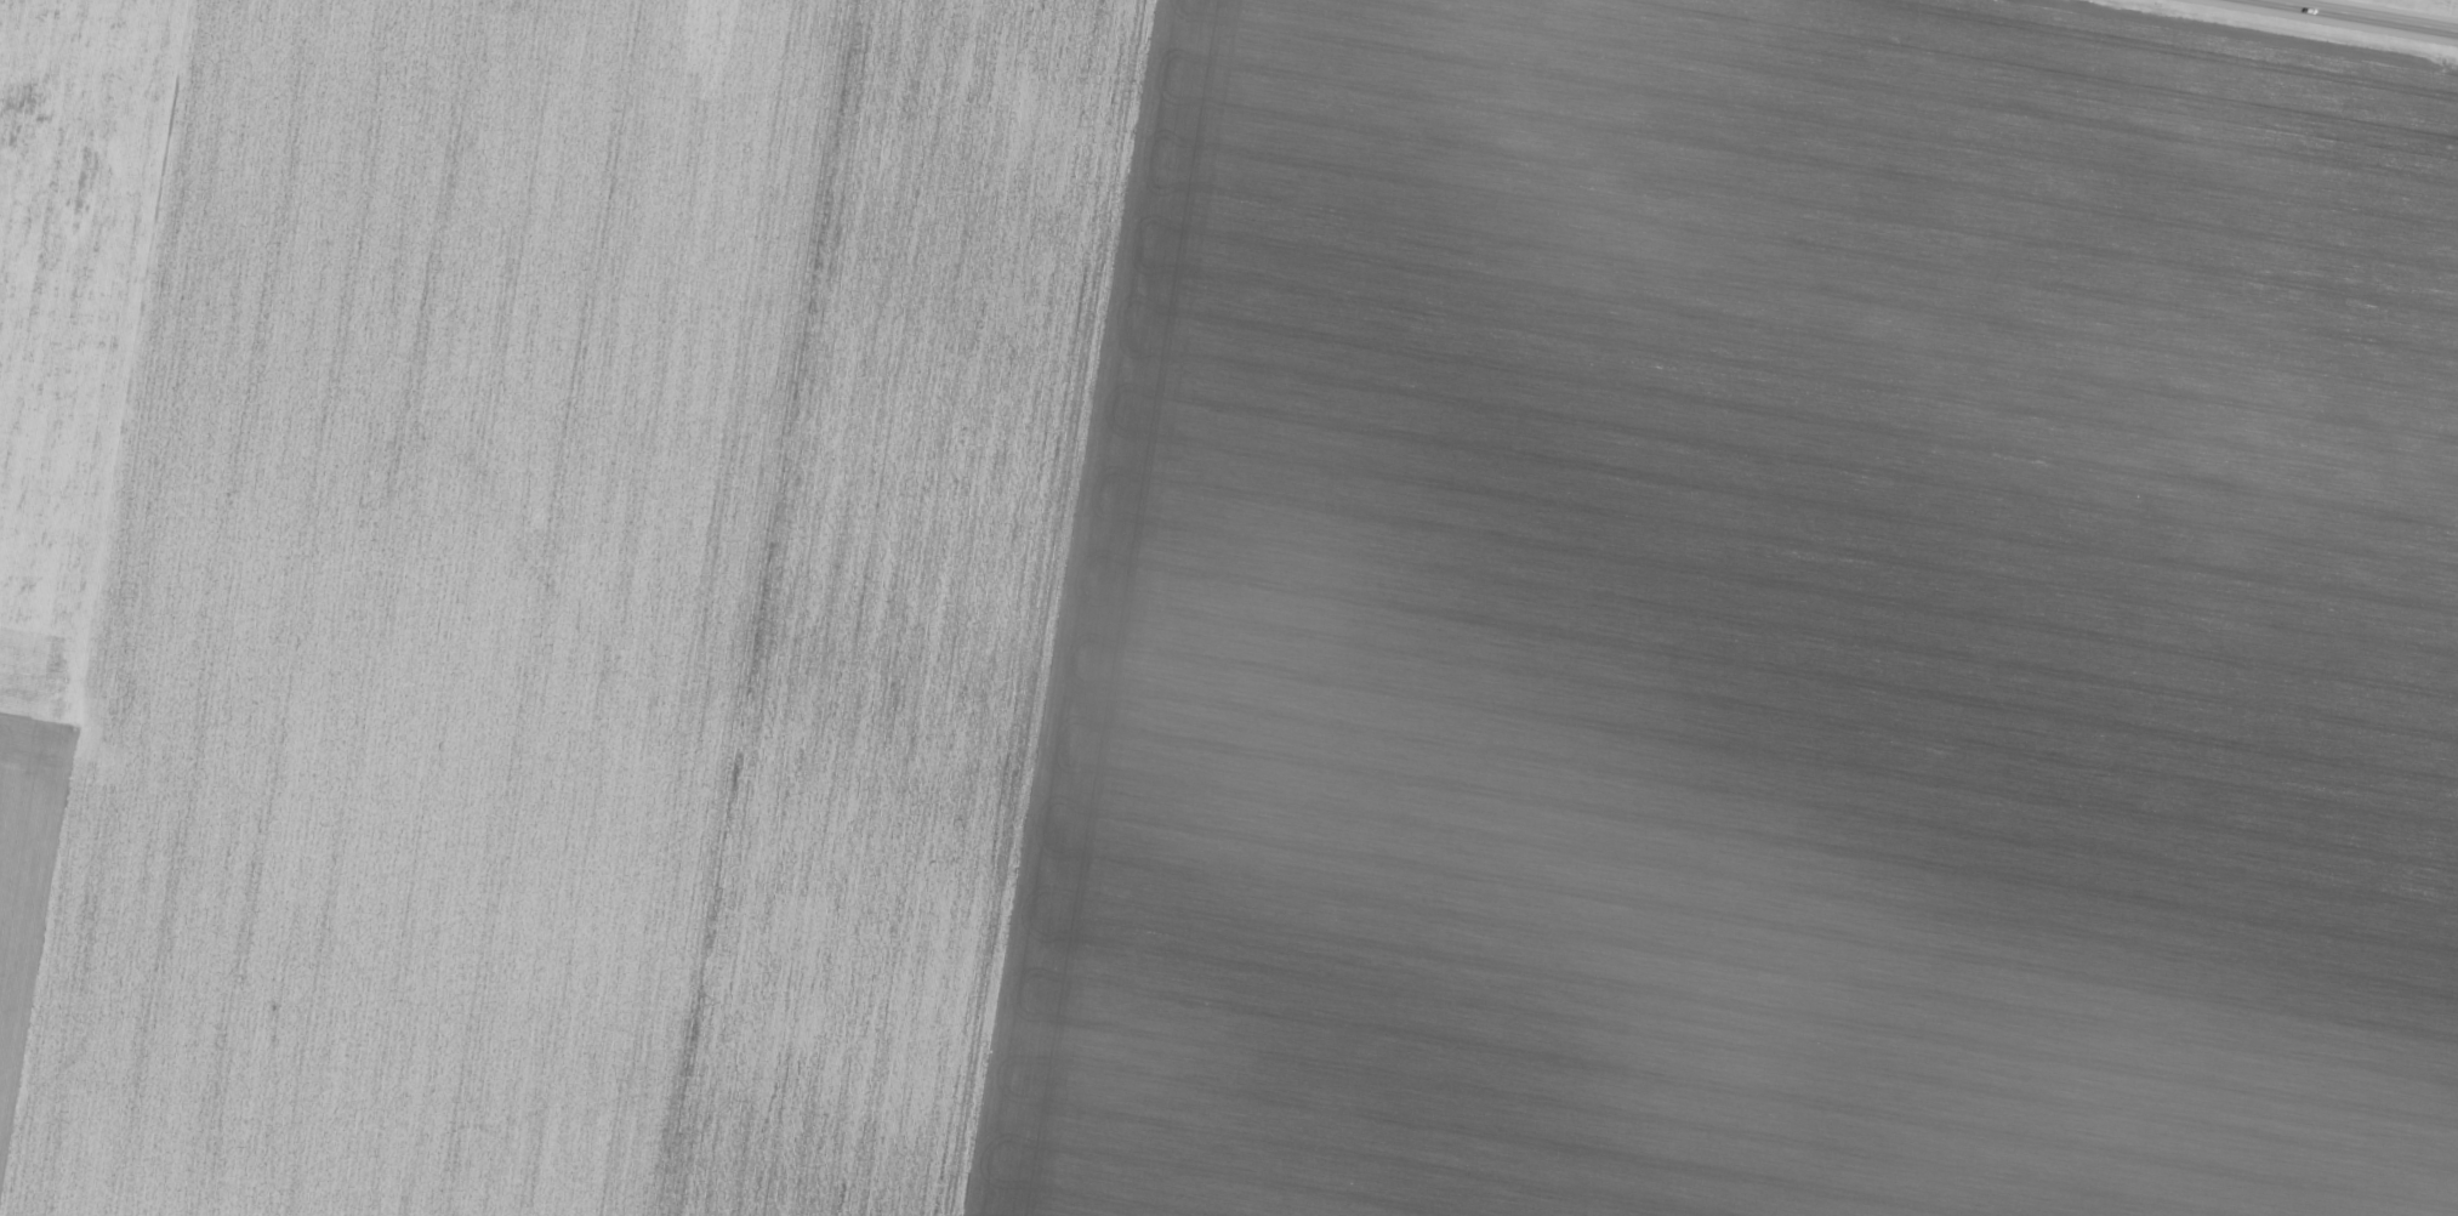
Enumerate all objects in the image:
road: (2366, 15)

